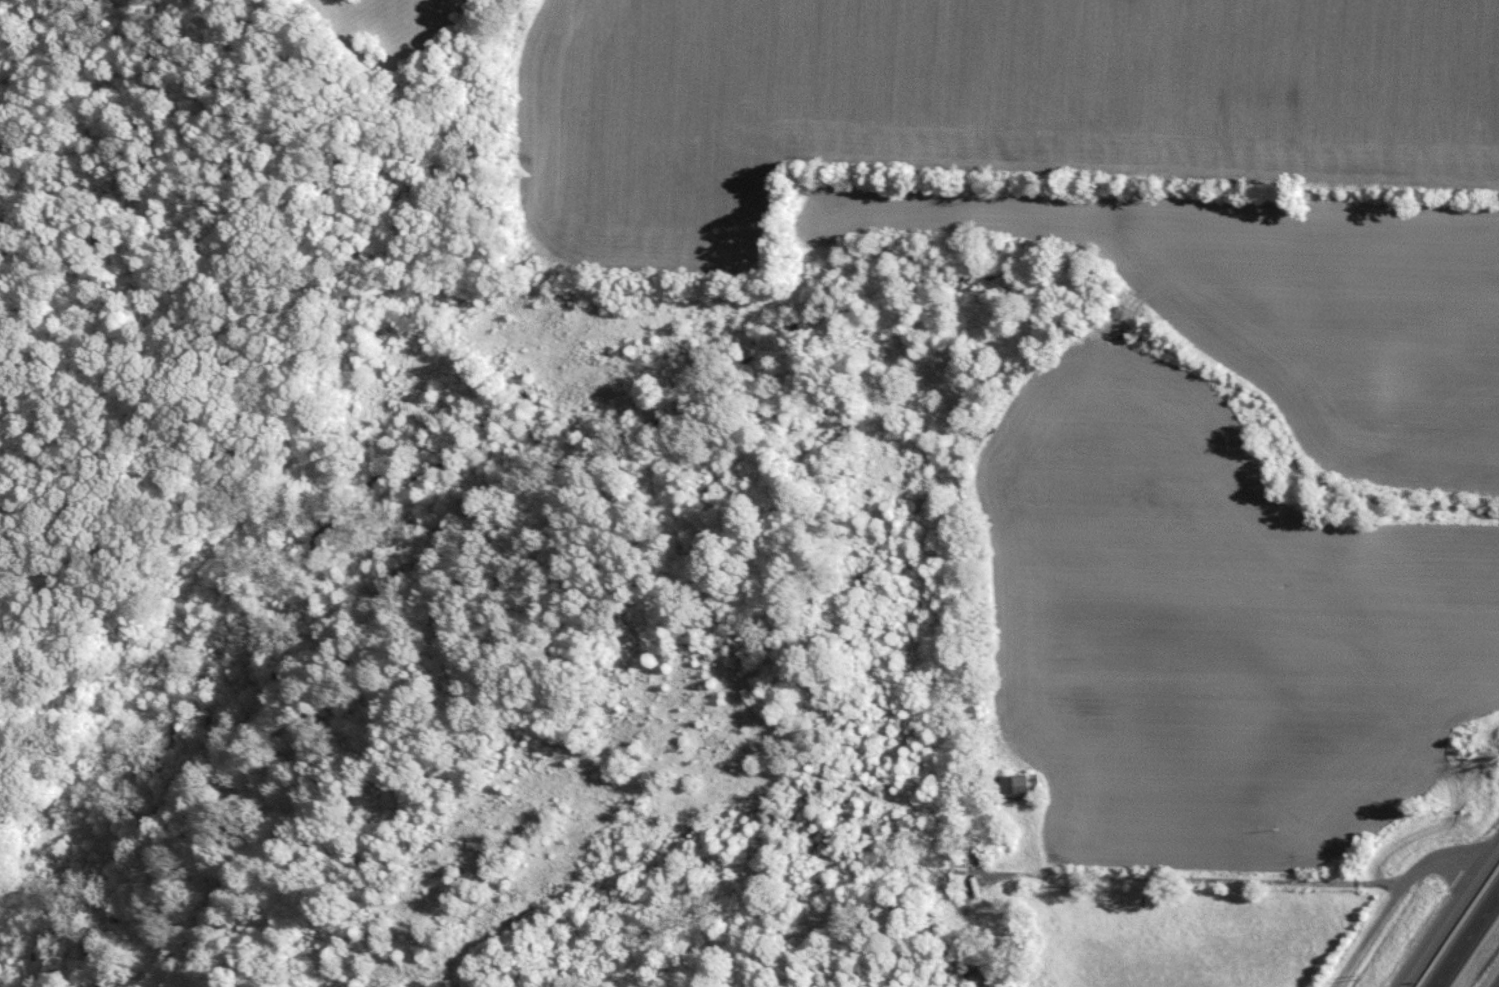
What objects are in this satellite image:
road: (1202, 878)
road: (1404, 899)
road: (1451, 916)
road: (1472, 947)

